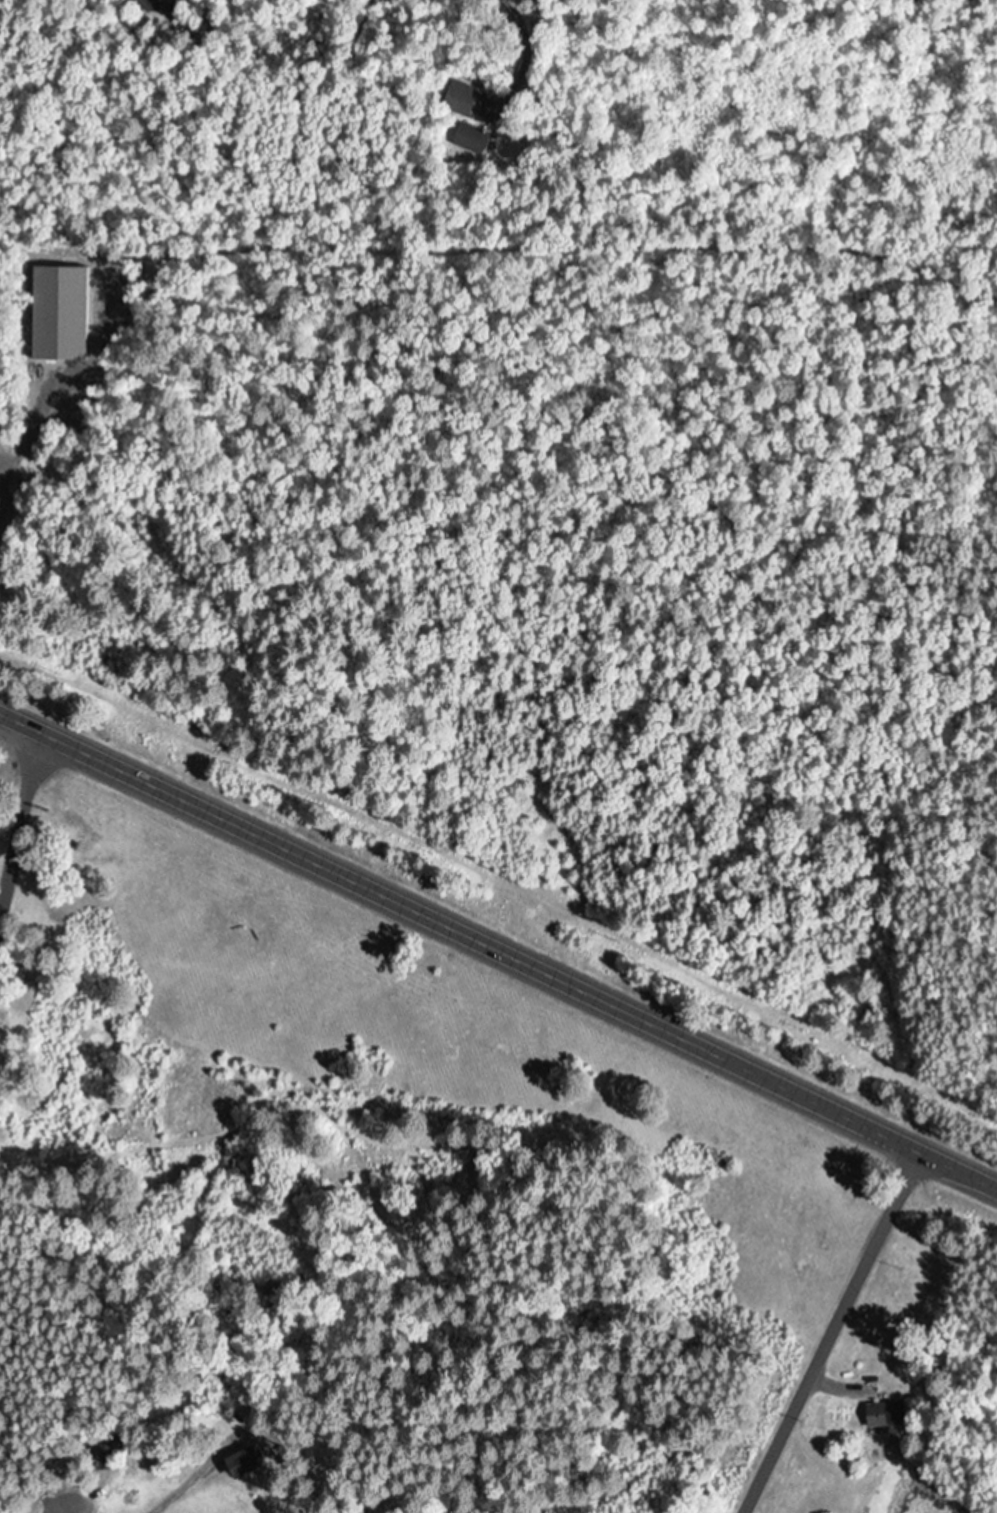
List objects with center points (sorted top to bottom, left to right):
building: (156, 5)
building: (459, 98)
building: (471, 138)
road: (20, 825)
road: (499, 944)
road: (826, 1328)
building: (881, 1414)
building: (103, 1454)
road: (29, 1485)

